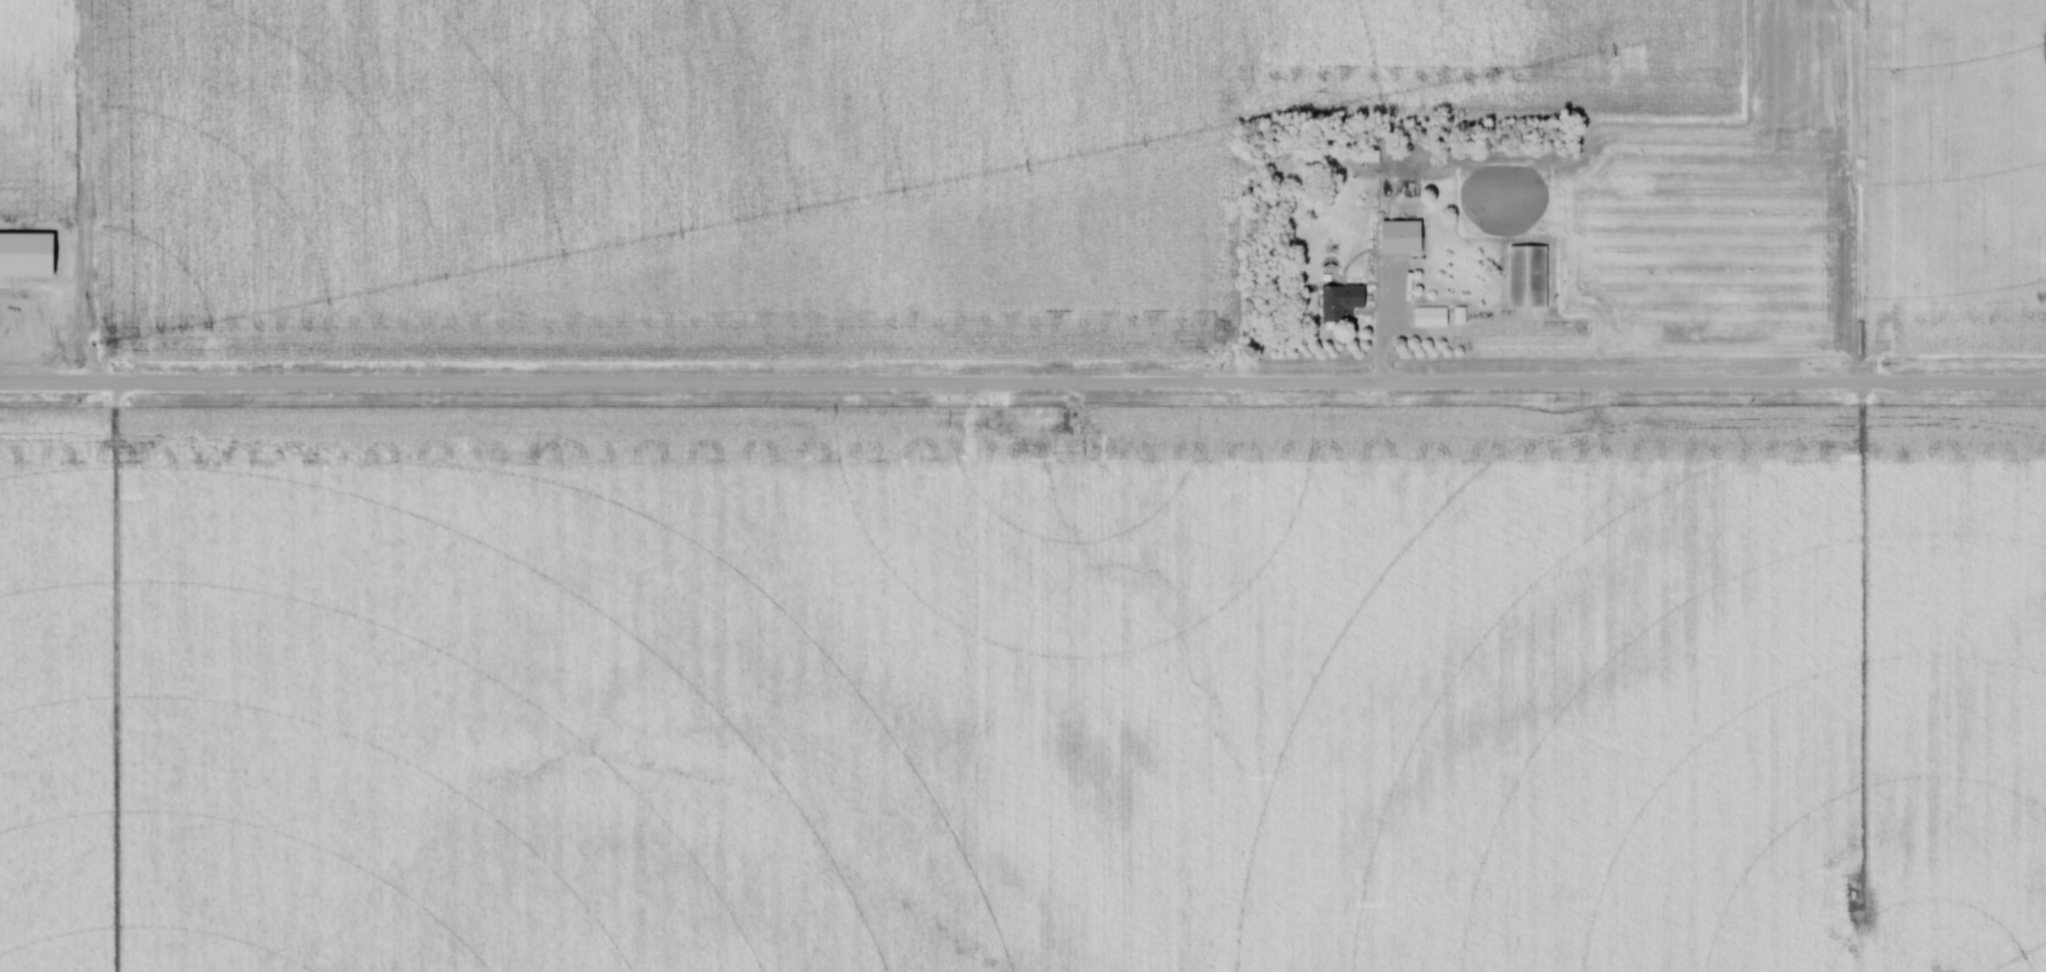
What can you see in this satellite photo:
building: (1395, 238)
building: (1523, 277)
building: (1336, 302)
building: (1426, 317)
road: (1022, 385)

